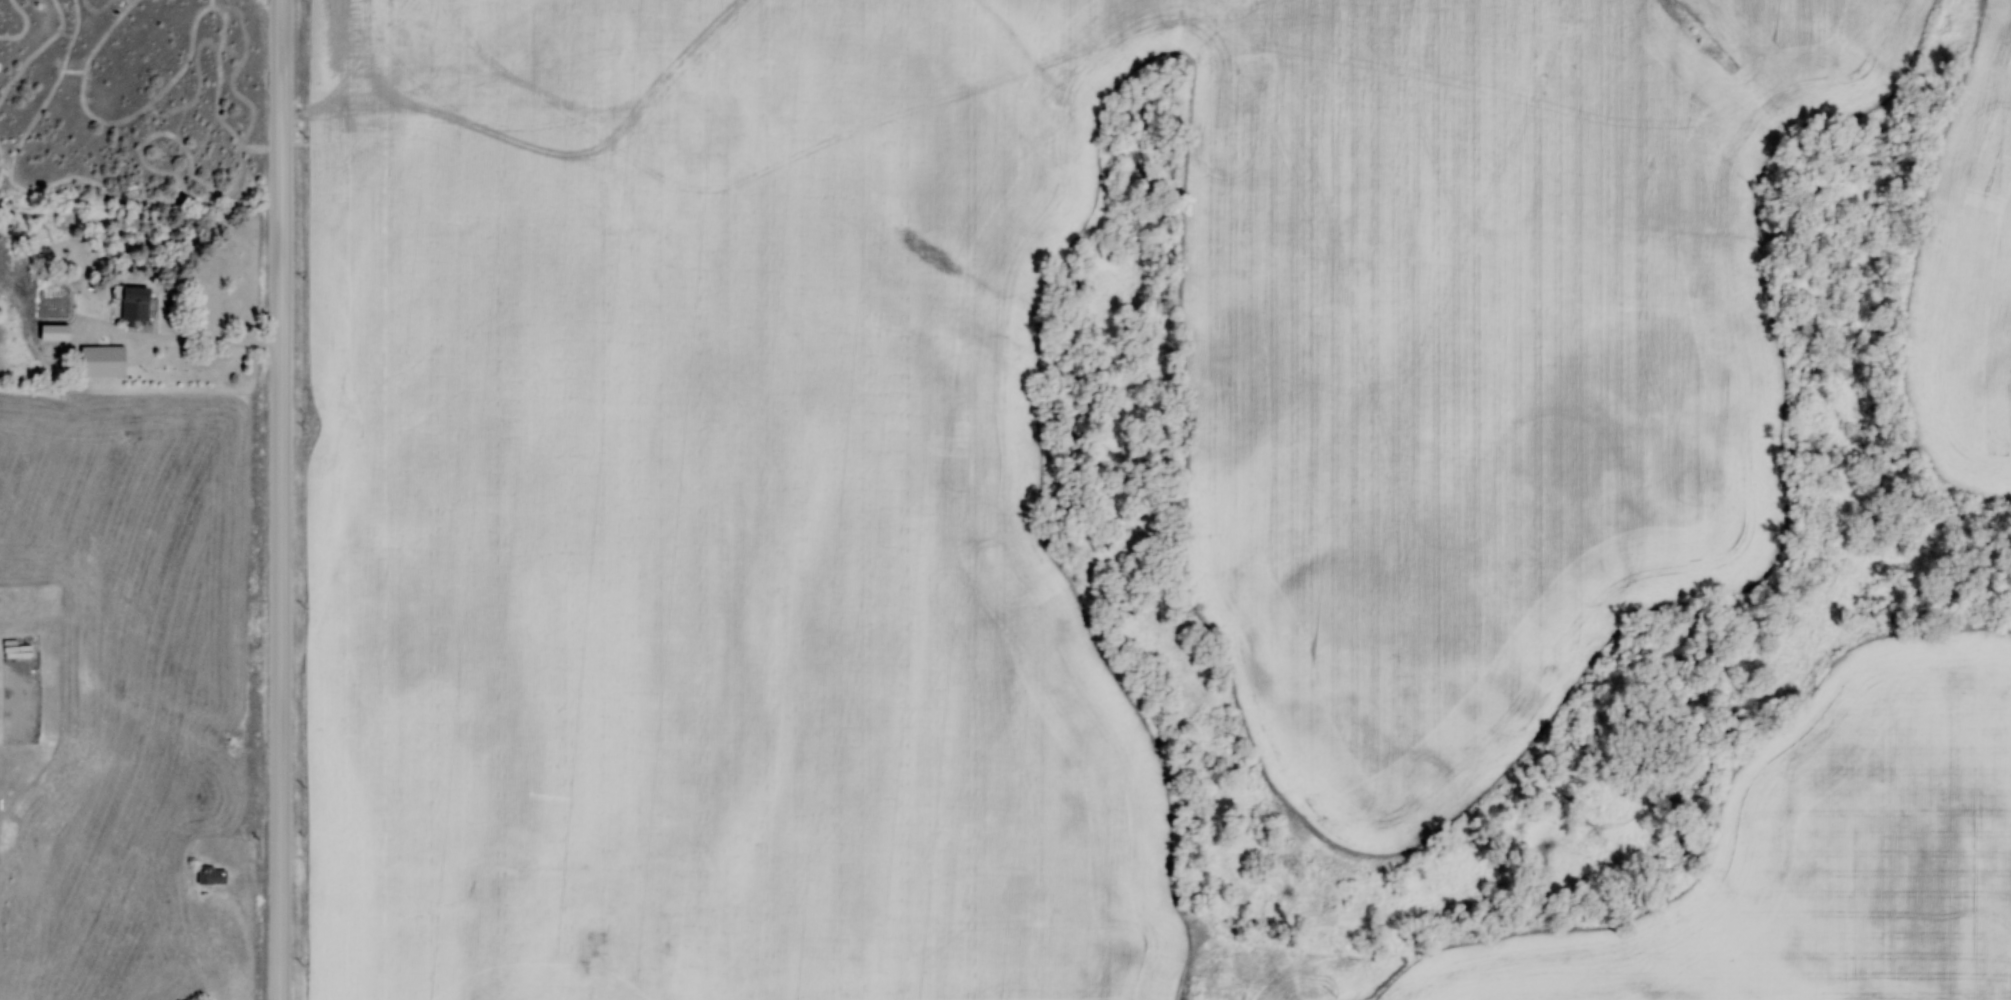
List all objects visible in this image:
road: (282, 194)
building: (134, 305)
road: (178, 340)
building: (105, 362)
road: (282, 450)
road: (279, 756)
building: (210, 877)
building: (594, 937)

